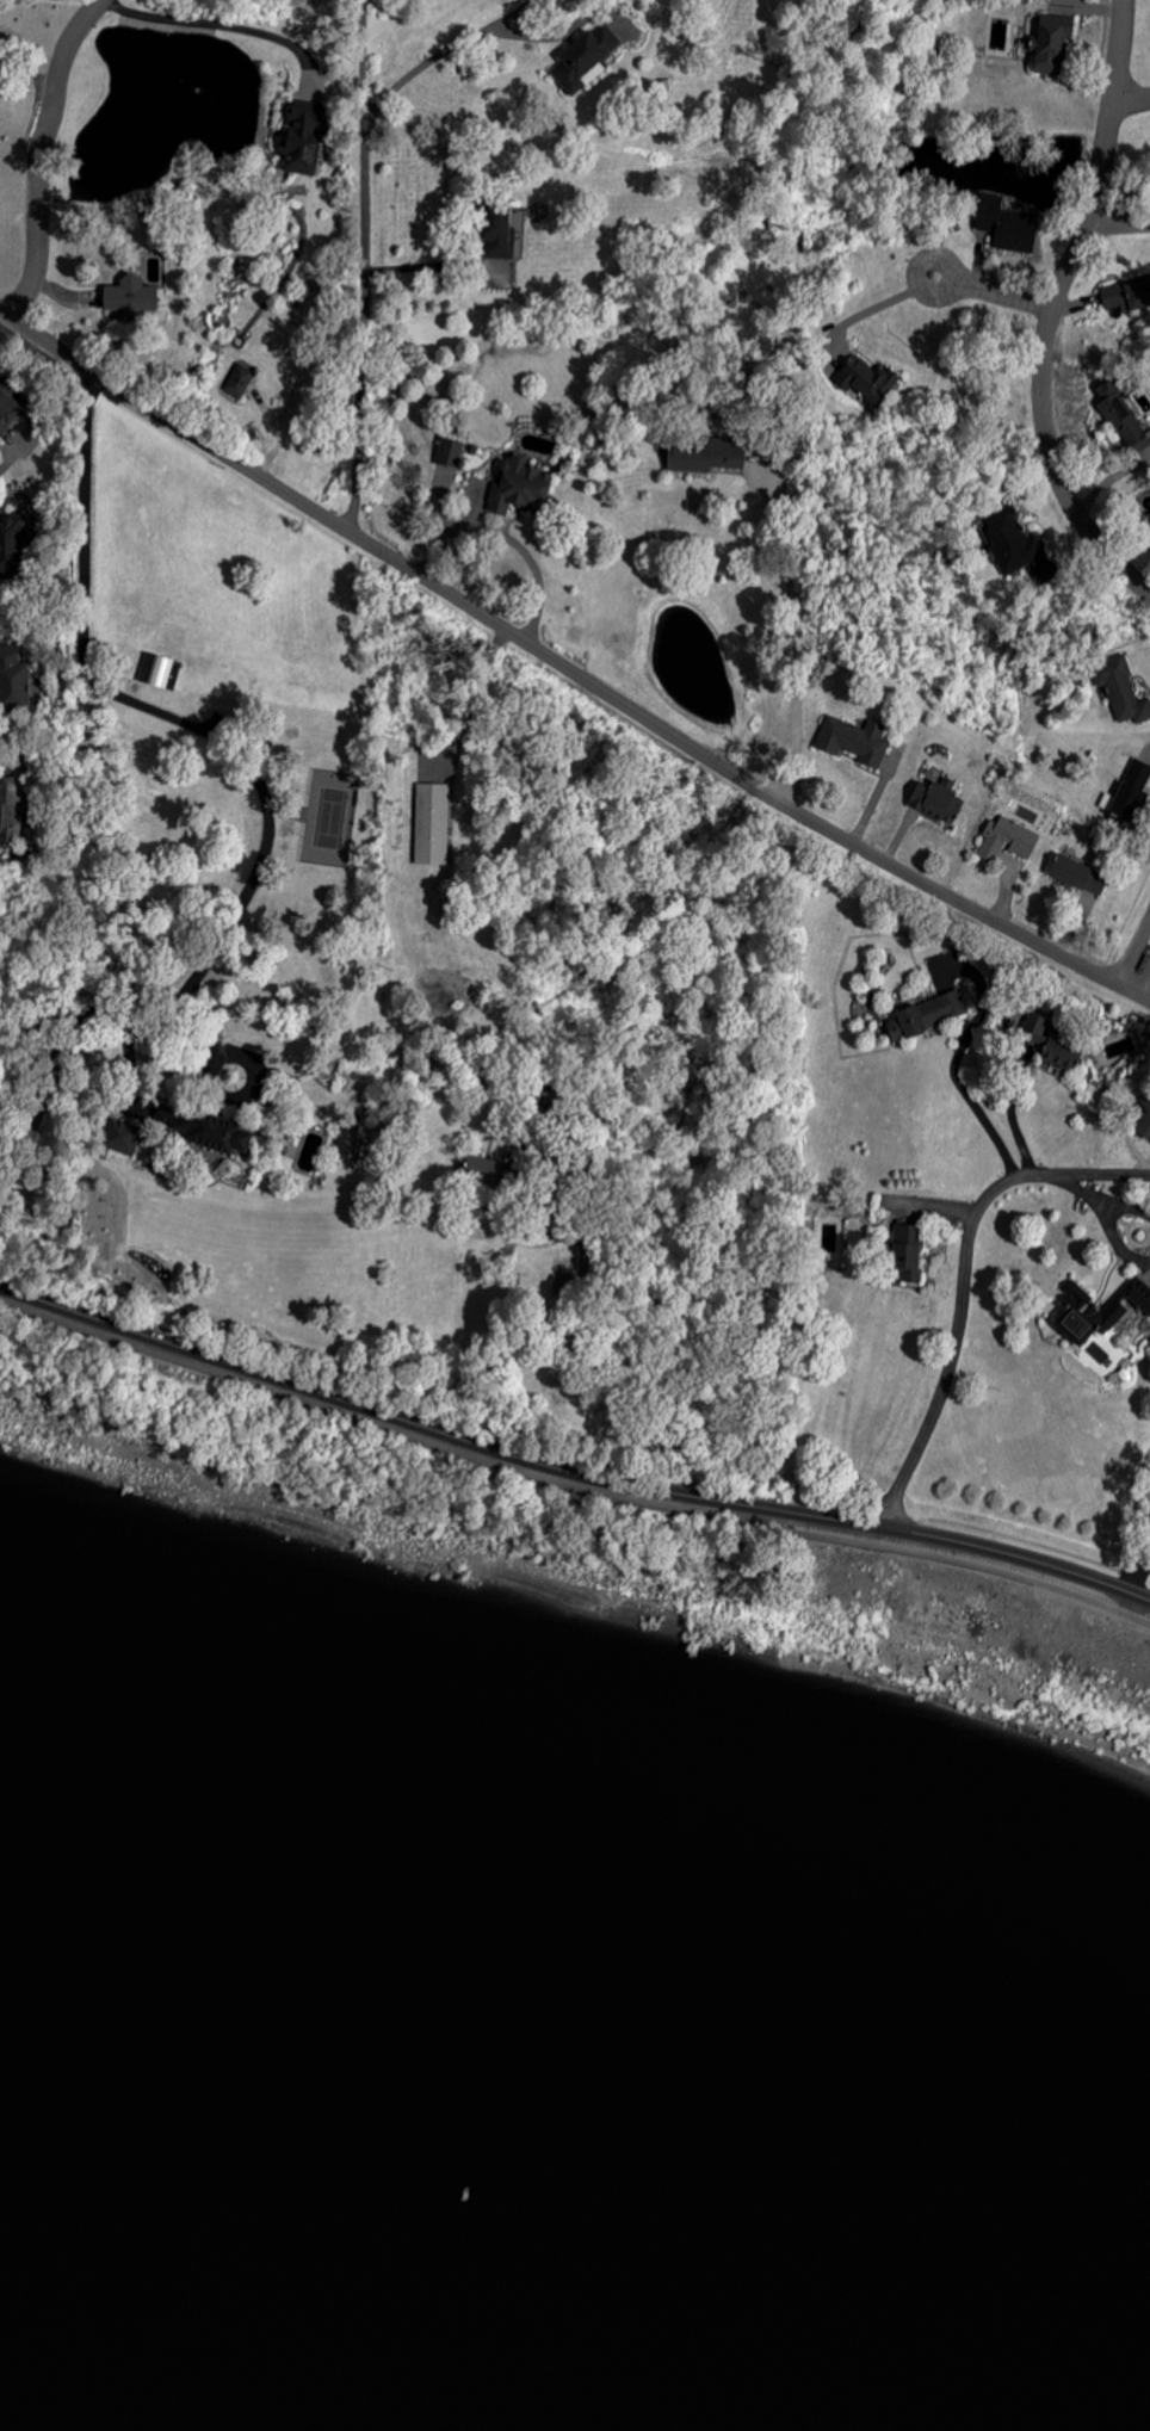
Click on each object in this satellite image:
road: (608, 18)
road: (549, 33)
building: (1050, 44)
road: (443, 57)
building: (583, 57)
road: (1131, 100)
building: (301, 138)
road: (42, 157)
road: (1123, 221)
building: (1004, 223)
building: (496, 231)
road: (422, 264)
road: (365, 266)
road: (995, 289)
building: (128, 297)
road: (876, 305)
road: (1052, 308)
building: (868, 378)
building: (240, 381)
building: (7, 412)
building: (1121, 416)
building: (453, 454)
building: (704, 458)
building: (514, 487)
building: (12, 538)
road: (512, 538)
road: (798, 629)
road: (568, 668)
building: (160, 672)
building: (12, 681)
building: (1121, 689)
road: (465, 695)
road: (165, 716)
building: (853, 741)
building: (1130, 792)
building: (935, 802)
building: (10, 809)
building: (433, 824)
building: (1007, 840)
building: (1077, 876)
road: (1139, 966)
building: (927, 1013)
road: (113, 1016)
building: (1049, 1044)
road: (959, 1077)
road: (234, 1095)
road: (1012, 1114)
building: (1144, 1122)
building: (209, 1132)
building: (116, 1138)
road: (1083, 1190)
road: (1129, 1208)
road: (1117, 1248)
building: (905, 1251)
road: (964, 1282)
building: (1139, 1295)
building: (1076, 1313)
building: (1112, 1318)
road: (581, 1324)
road: (568, 1470)
road: (568, 1486)
river: (575, 1918)
river: (131, 2362)

